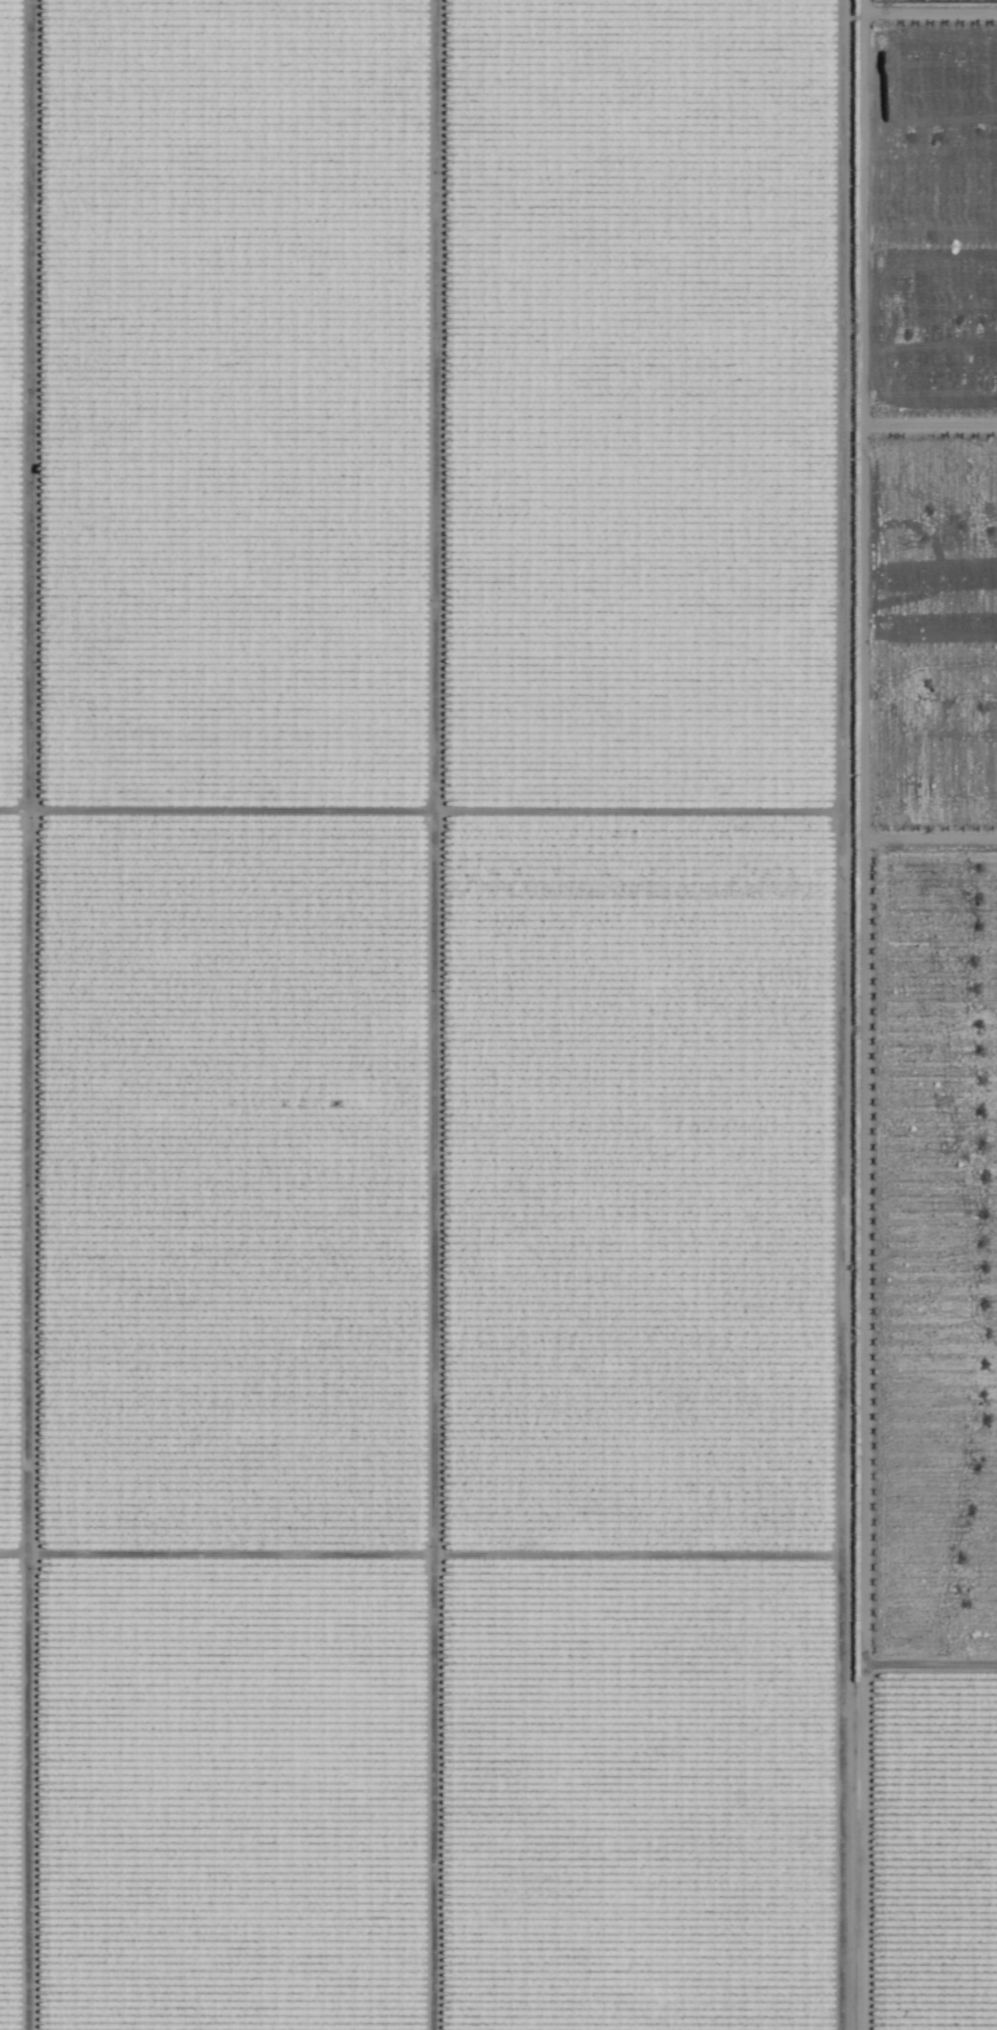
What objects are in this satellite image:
road: (145, 844)
crop: (498, 1015)

